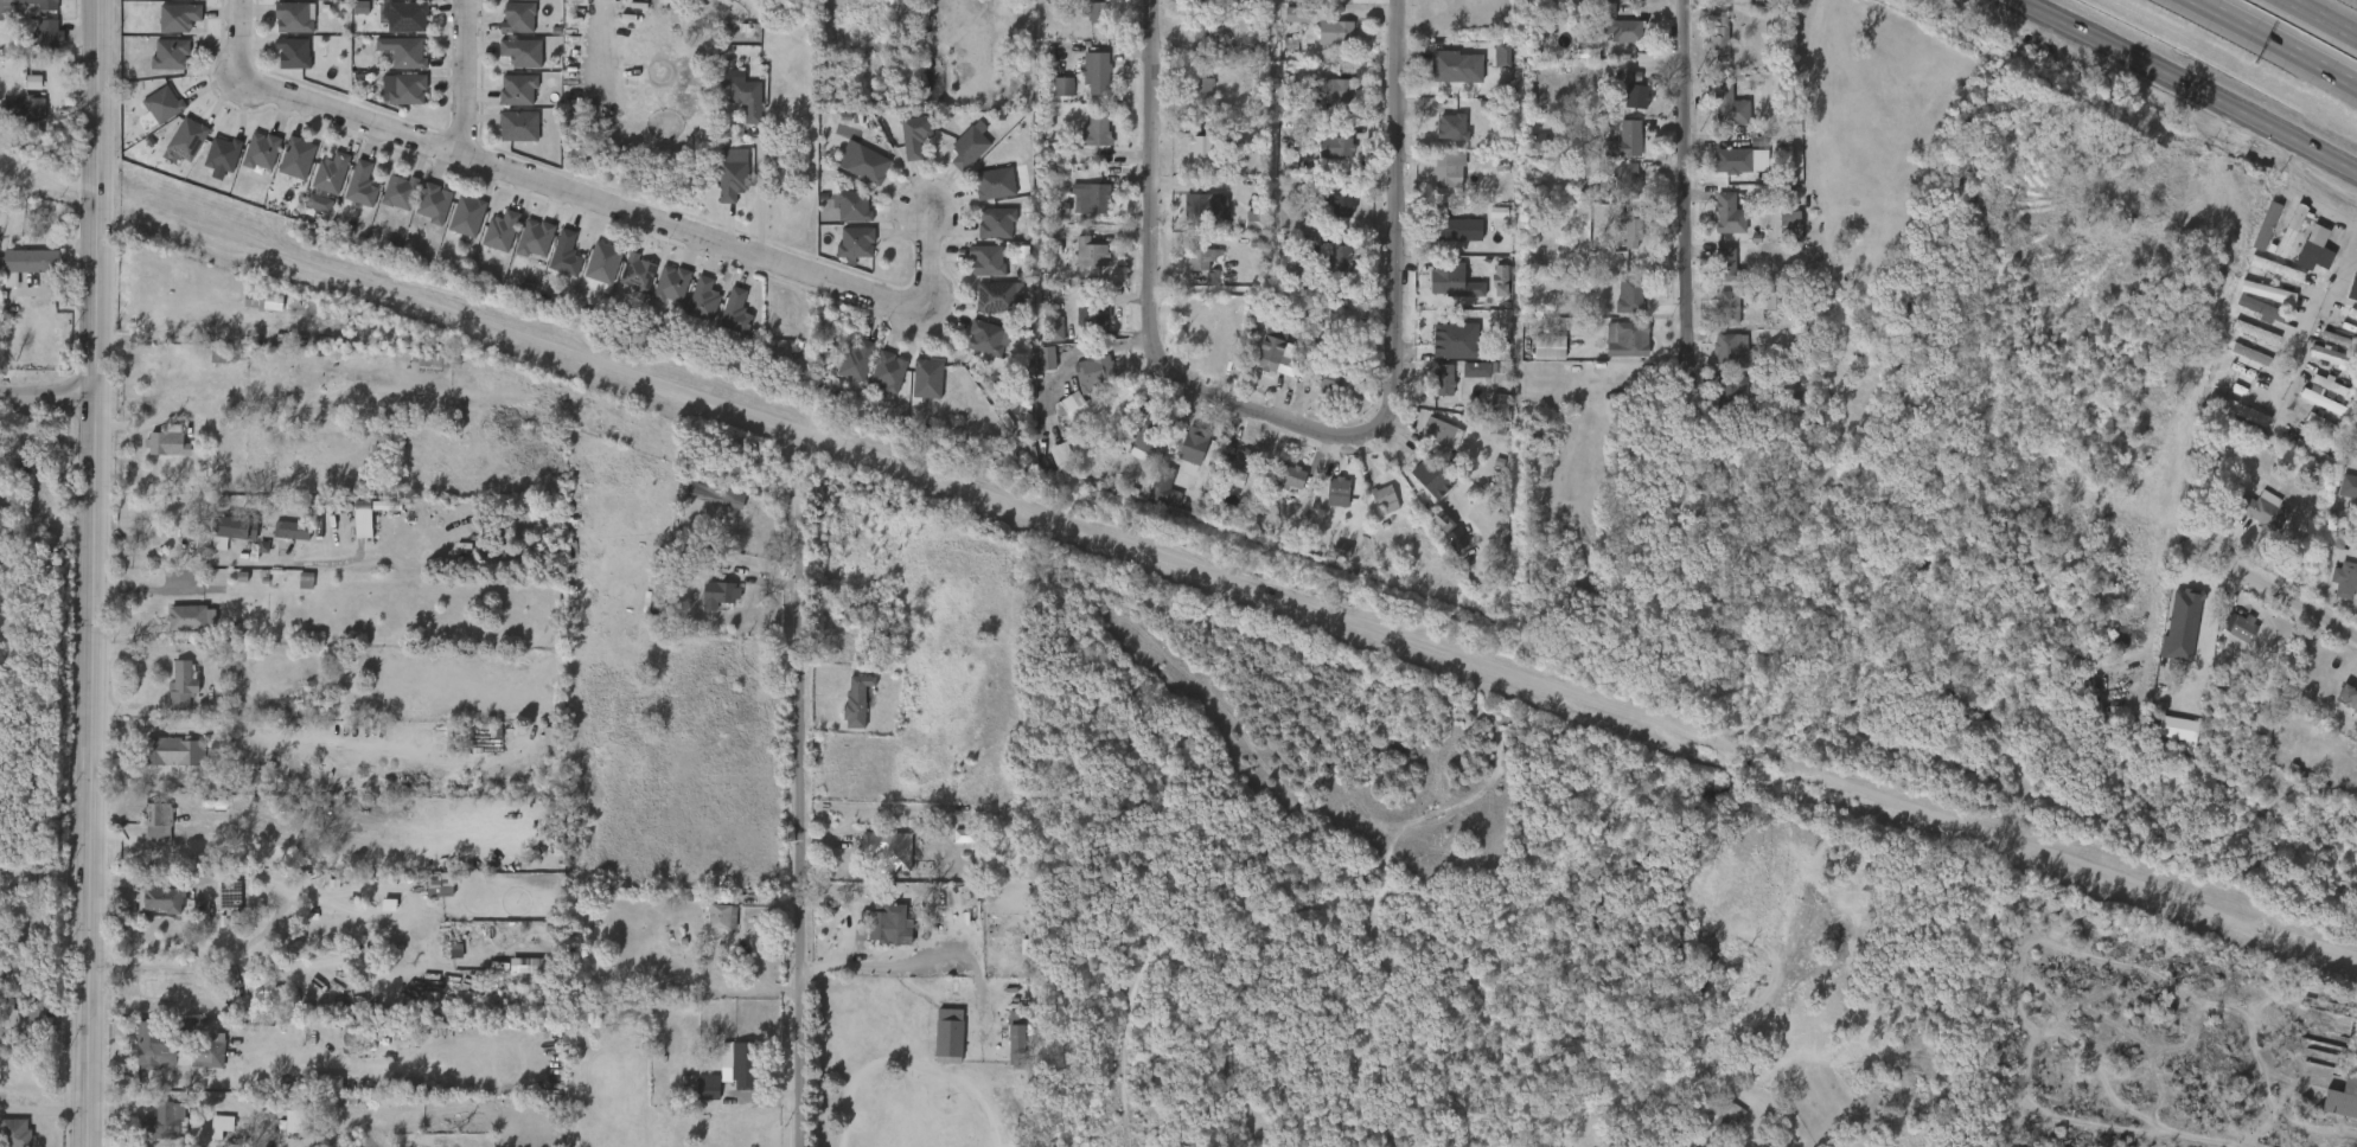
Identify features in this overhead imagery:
building: (1203, 0)
building: (1324, 1)
building: (1607, 1)
building: (510, 2)
building: (664, 2)
building: (172, 4)
building: (1719, 4)
building: (31, 6)
building: (1097, 12)
building: (292, 17)
building: (404, 17)
building: (517, 17)
building: (179, 18)
building: (349, 18)
road: (2320, 19)
building: (1085, 24)
building: (1284, 25)
building: (166, 28)
building: (282, 28)
building: (395, 28)
building: (506, 28)
building: (1202, 28)
building: (1333, 31)
building: (1625, 31)
building: (50, 36)
road: (236, 37)
building: (1188, 41)
building: (1612, 41)
road: (2274, 41)
building: (1717, 43)
building: (1323, 44)
building: (37, 45)
building: (1705, 46)
building: (524, 51)
building: (295, 52)
building: (405, 52)
building: (168, 55)
building: (391, 63)
building: (281, 64)
building: (510, 64)
building: (158, 65)
building: (1489, 66)
building: (1449, 68)
building: (1099, 71)
road: (465, 78)
building: (1060, 83)
road: (2184, 83)
building: (1084, 84)
building: (1200, 88)
building: (405, 89)
building: (516, 89)
building: (1633, 90)
building: (21, 92)
building: (1339, 92)
building: (1050, 97)
building: (749, 98)
building: (391, 100)
building: (1188, 100)
building: (505, 101)
building: (1621, 102)
building: (165, 104)
building: (1727, 105)
building: (32, 109)
building: (735, 111)
building: (152, 116)
building: (1716, 117)
building: (15, 120)
building: (517, 126)
building: (1452, 127)
building: (1096, 132)
building: (914, 135)
building: (185, 137)
building: (506, 137)
building: (1438, 137)
building: (1622, 140)
building: (1084, 141)
building: (1336, 145)
building: (1202, 146)
building: (902, 147)
building: (969, 148)
building: (263, 149)
building: (221, 153)
building: (1526, 153)
building: (299, 156)
building: (1323, 158)
building: (1193, 159)
building: (1732, 160)
building: (249, 162)
building: (211, 165)
building: (867, 165)
building: (1446, 167)
building: (285, 168)
building: (1718, 172)
building: (332, 173)
building: (855, 175)
building: (732, 180)
building: (1624, 180)
building: (1436, 181)
building: (995, 182)
building: (319, 184)
building: (359, 185)
building: (1614, 187)
building: (398, 191)
building: (720, 191)
road: (1693, 193)
building: (982, 194)
building: (349, 196)
road: (760, 196)
road: (104, 198)
building: (1090, 198)
road: (2302, 199)
building: (388, 203)
building: (432, 203)
building: (1199, 204)
building: (852, 205)
road: (1403, 205)
building: (1342, 206)
building: (1077, 210)
road: (630, 212)
building: (307, 213)
building: (421, 214)
building: (1729, 214)
building: (467, 216)
building: (841, 217)
building: (1327, 217)
building: (1196, 218)
building: (999, 223)
building: (1714, 225)
building: (1787, 225)
building: (454, 226)
building: (1629, 226)
building: (1456, 230)
building: (499, 231)
building: (1241, 231)
building: (984, 233)
building: (1776, 233)
building: (2253, 237)
building: (534, 238)
building: (1445, 241)
building: (2276, 241)
building: (855, 242)
building: (1618, 245)
building: (523, 249)
building: (2313, 250)
building: (1090, 252)
building: (566, 254)
building: (843, 255)
building: (1336, 256)
building: (1202, 257)
building: (990, 259)
building: (2301, 261)
building: (28, 262)
building: (606, 262)
building: (1078, 263)
building: (552, 265)
building: (1724, 265)
building: (1189, 269)
building: (1328, 269)
building: (975, 270)
building: (21, 273)
building: (590, 273)
building: (637, 273)
building: (1714, 276)
building: (1448, 280)
building: (2262, 280)
building: (624, 283)
building: (670, 284)
building: (1199, 287)
building: (2352, 287)
building: (1433, 290)
building: (1487, 291)
building: (659, 295)
building: (995, 296)
building: (1629, 296)
building: (702, 300)
building: (260, 301)
building: (2254, 303)
building: (1617, 308)
building: (1727, 309)
building: (690, 310)
building: (1759, 310)
building: (260, 312)
building: (739, 312)
building: (1096, 313)
road: (1163, 316)
building: (1716, 319)
building: (2254, 321)
building: (722, 323)
building: (1080, 325)
road: (2321, 329)
building: (1445, 335)
building: (986, 338)
building: (1043, 339)
building: (1624, 339)
building: (2241, 344)
building: (1429, 346)
building: (1550, 347)
building: (975, 350)
building: (1614, 350)
building: (1732, 351)
building: (2356, 352)
building: (1275, 358)
building: (1535, 359)
building: (856, 360)
building: (1719, 361)
building: (2236, 365)
building: (2317, 366)
building: (1031, 370)
building: (843, 371)
building: (888, 371)
building: (154, 372)
building: (1094, 373)
building: (926, 378)
building: (1326, 378)
building: (1443, 380)
building: (1463, 380)
building: (875, 384)
building: (914, 390)
building: (1314, 390)
building: (1431, 390)
building: (1729, 393)
road: (47, 397)
building: (2246, 412)
building: (2310, 412)
building: (1055, 414)
building: (1484, 414)
building: (2233, 423)
building: (1442, 434)
building: (1149, 435)
building: (2311, 437)
building: (162, 441)
building: (1427, 443)
building: (1133, 449)
building: (155, 455)
building: (1180, 456)
building: (1239, 461)
building: (2300, 464)
building: (1229, 470)
building: (1424, 475)
building: (1286, 478)
building: (2355, 482)
building: (1277, 488)
building: (1417, 489)
building: (713, 492)
building: (1335, 492)
building: (1149, 498)
building: (2342, 498)
building: (1324, 502)
building: (701, 504)
building: (2262, 510)
building: (1372, 511)
building: (366, 513)
building: (2251, 521)
building: (230, 528)
building: (350, 530)
building: (286, 533)
building: (279, 540)
building: (207, 553)
building: (1328, 560)
building: (2344, 579)
road: (168, 589)
building: (2331, 590)
building: (717, 592)
road: (2287, 597)
building: (707, 604)
building: (850, 607)
building: (189, 616)
building: (2241, 624)
building: (179, 629)
building: (2228, 637)
building: (184, 686)
building: (2349, 694)
building: (171, 696)
building: (856, 700)
building: (844, 711)
building: (2340, 711)
building: (537, 746)
building: (175, 751)
building: (164, 762)
road: (92, 771)
building: (2311, 783)
building: (155, 820)
road: (803, 822)
building: (142, 829)
building: (950, 846)
building: (892, 851)
building: (875, 859)
road: (45, 877)
building: (427, 895)
building: (159, 899)
building: (218, 908)
building: (960, 909)
building: (148, 910)
building: (881, 915)
building: (718, 916)
building: (707, 927)
building: (518, 975)
building: (30, 1025)
building: (17, 1031)
building: (279, 1039)
building: (1003, 1040)
building: (935, 1046)
building: (174, 1049)
building: (338, 1050)
building: (141, 1056)
building: (741, 1063)
building: (727, 1075)
building: (707, 1085)
road: (124, 1094)
building: (695, 1097)
building: (2343, 1100)
road: (44, 1108)
building: (290, 1110)
building: (1714, 1115)
building: (162, 1122)
building: (283, 1130)
building: (15, 1133)
building: (209, 1135)
building: (1674, 1141)

